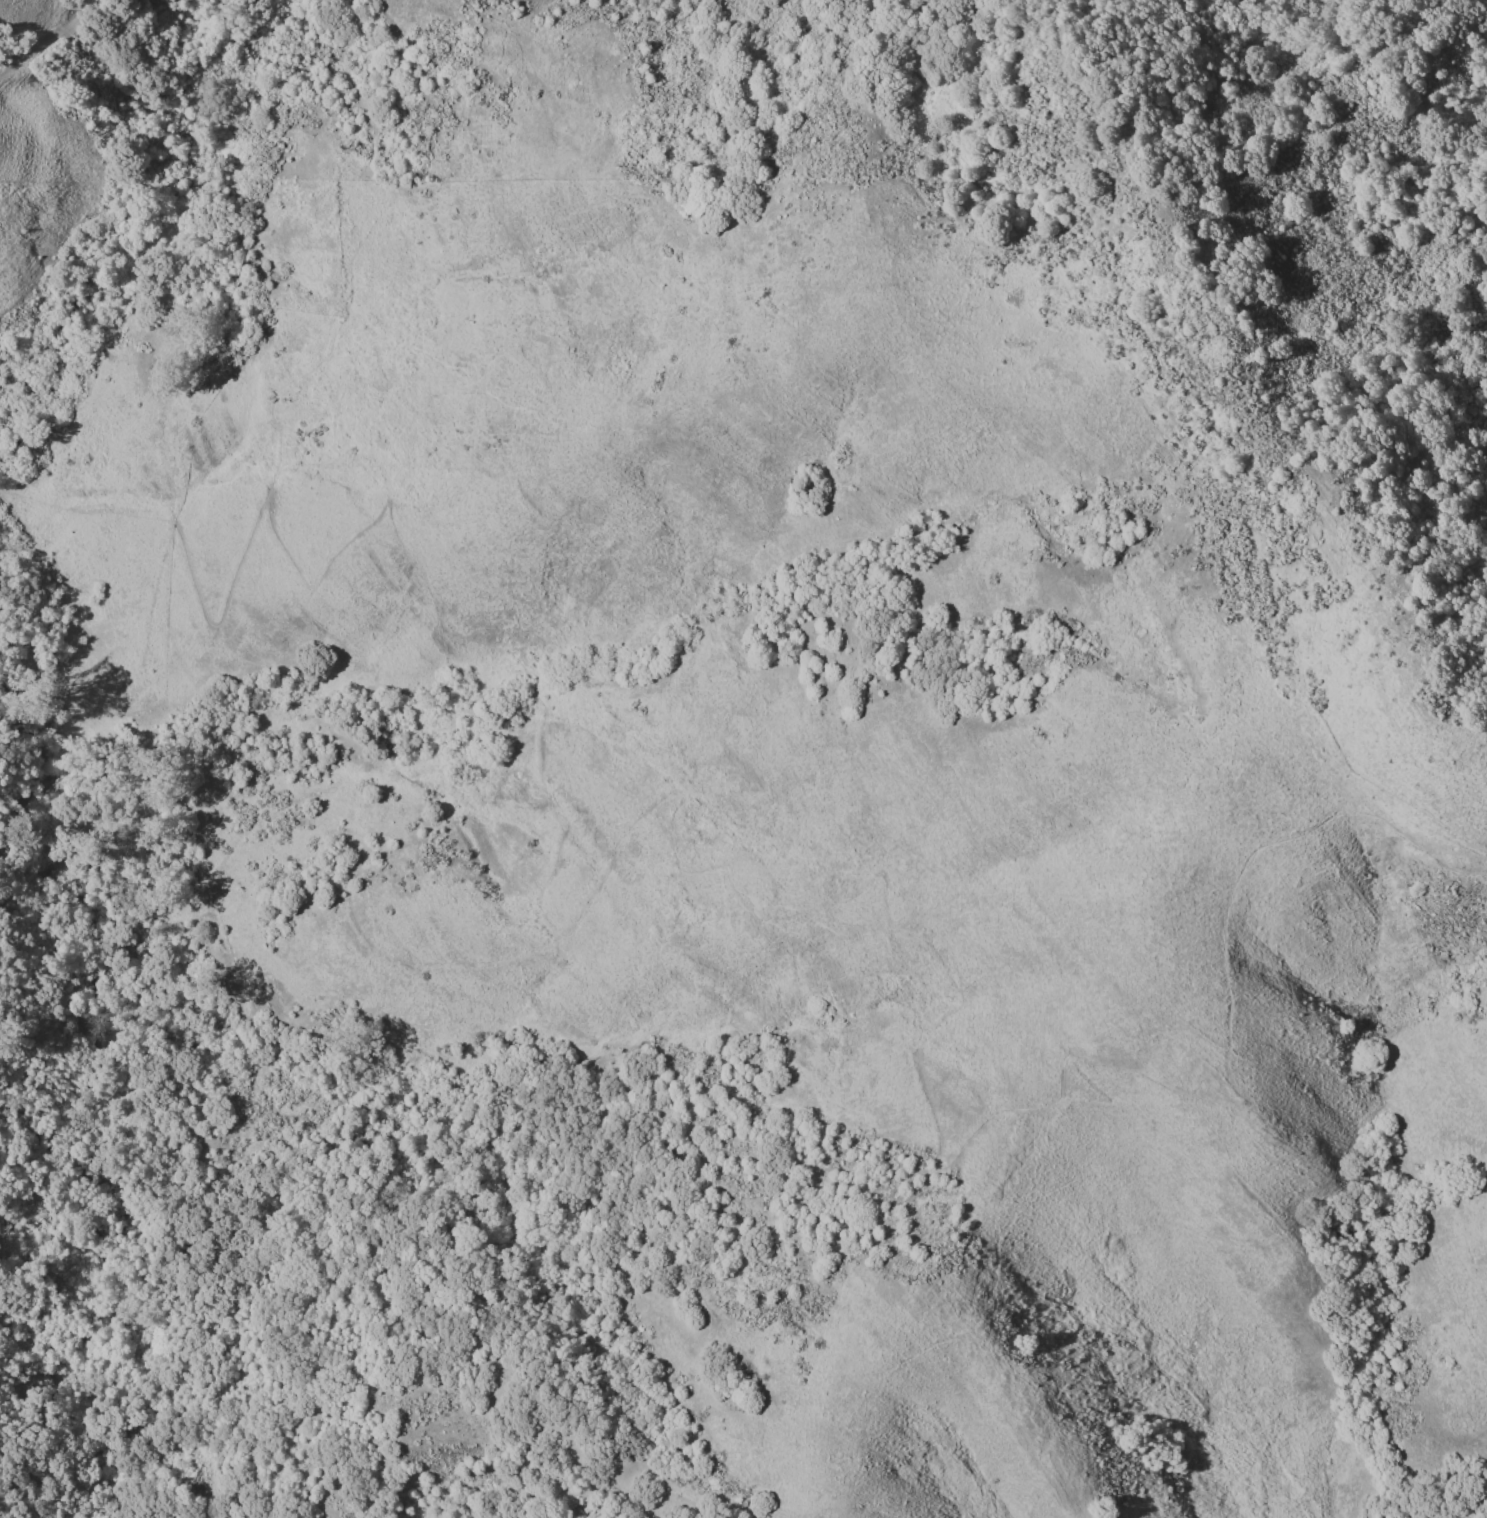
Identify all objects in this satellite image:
road: (47, 36)
road: (355, 250)
road: (190, 543)
road: (1439, 719)
road: (1470, 730)
road: (883, 885)

